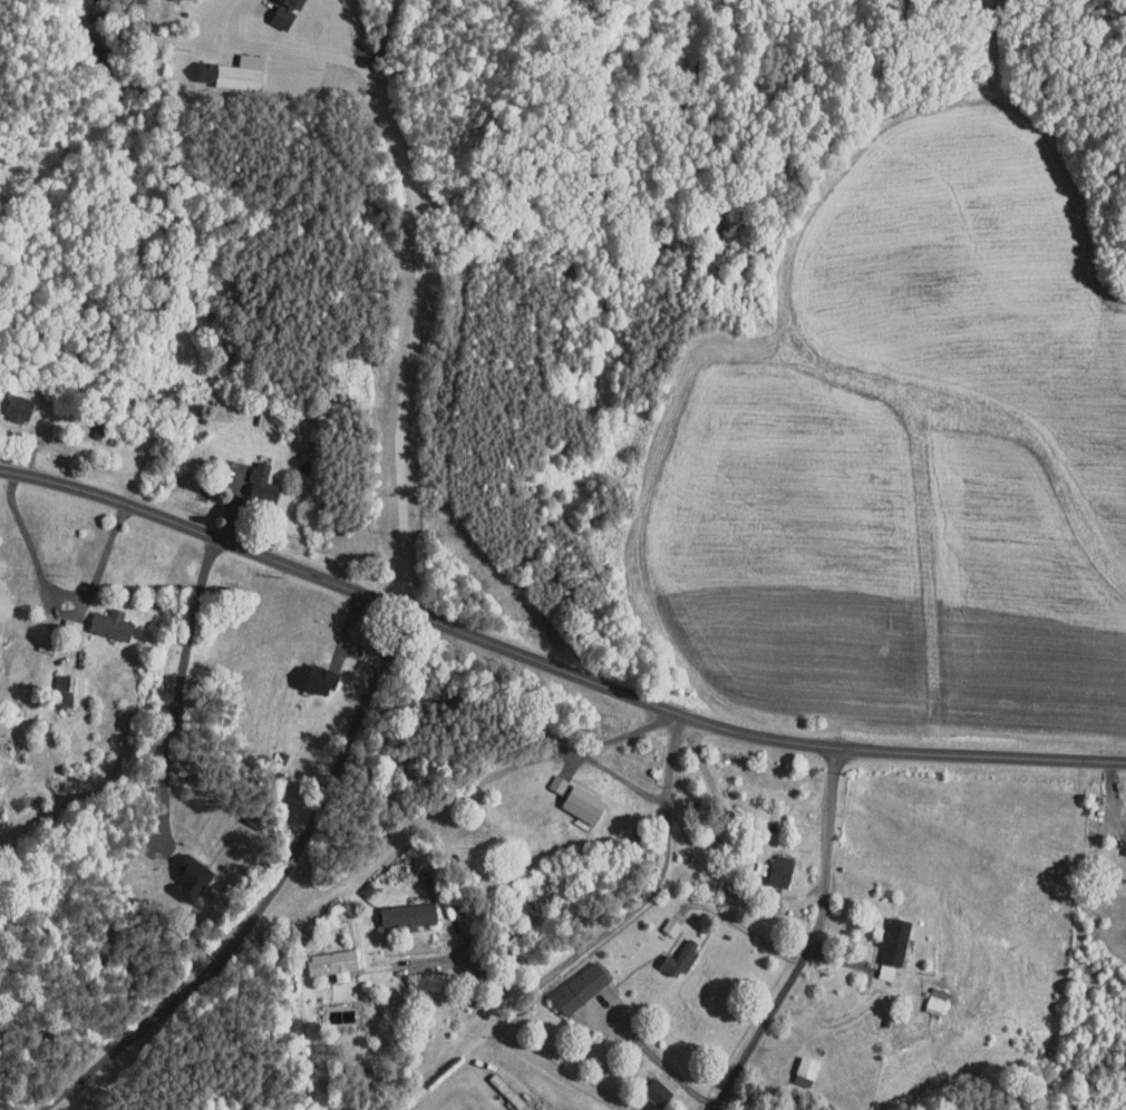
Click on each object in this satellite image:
building: (287, 1)
building: (271, 10)
building: (223, 65)
road: (417, 238)
building: (9, 400)
building: (250, 475)
road: (59, 585)
building: (99, 616)
road: (552, 666)
building: (309, 673)
building: (57, 675)
road: (590, 751)
building: (546, 777)
building: (572, 797)
building: (1120, 844)
building: (769, 864)
building: (178, 872)
road: (268, 894)
road: (779, 895)
building: (395, 909)
building: (659, 919)
road: (614, 928)
road: (754, 933)
building: (882, 939)
road: (813, 941)
building: (668, 952)
building: (321, 956)
building: (569, 981)
building: (923, 993)
road: (659, 1062)
building: (794, 1064)
building: (654, 1073)
building: (645, 1085)

